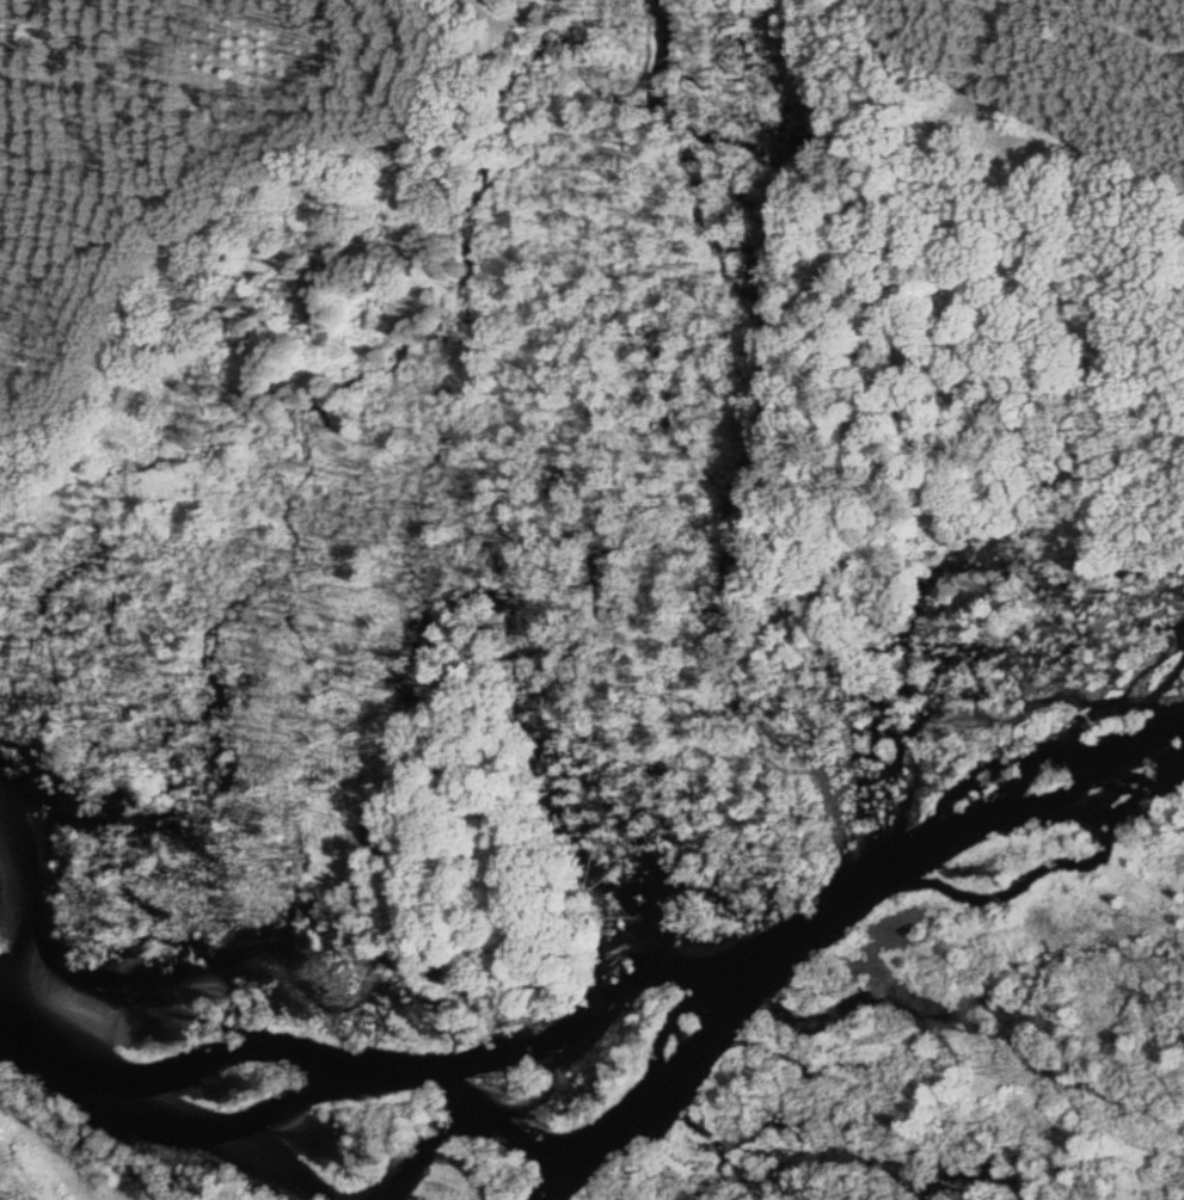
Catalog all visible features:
river: (626, 1116)

